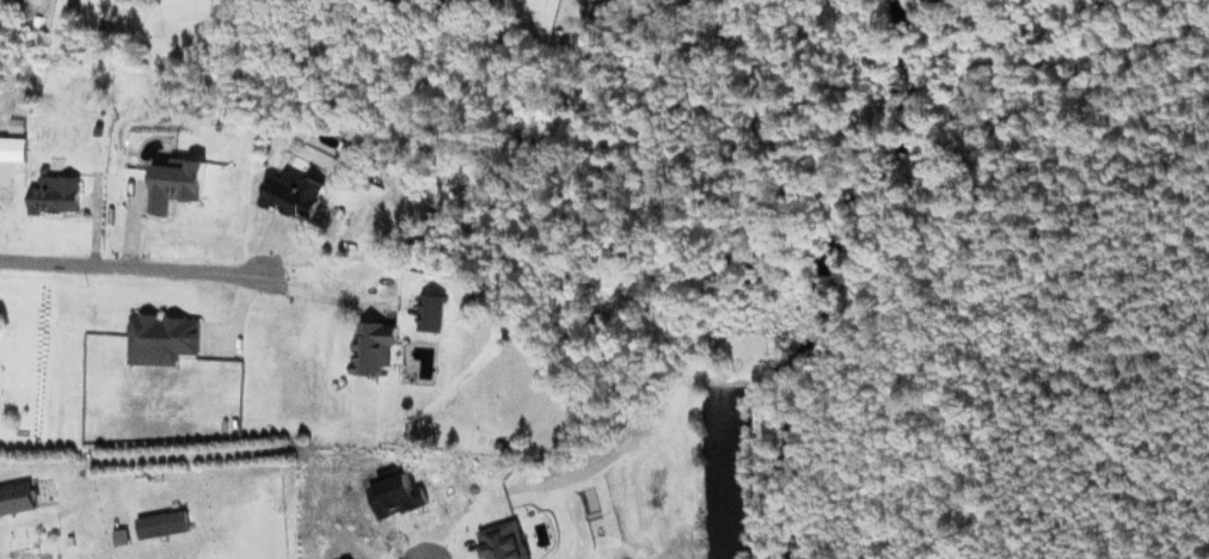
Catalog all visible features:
building: (13, 149)
building: (178, 184)
building: (57, 195)
building: (295, 195)
road: (130, 268)
building: (432, 313)
building: (162, 339)
building: (374, 348)
building: (17, 498)
building: (164, 524)
building: (504, 541)

